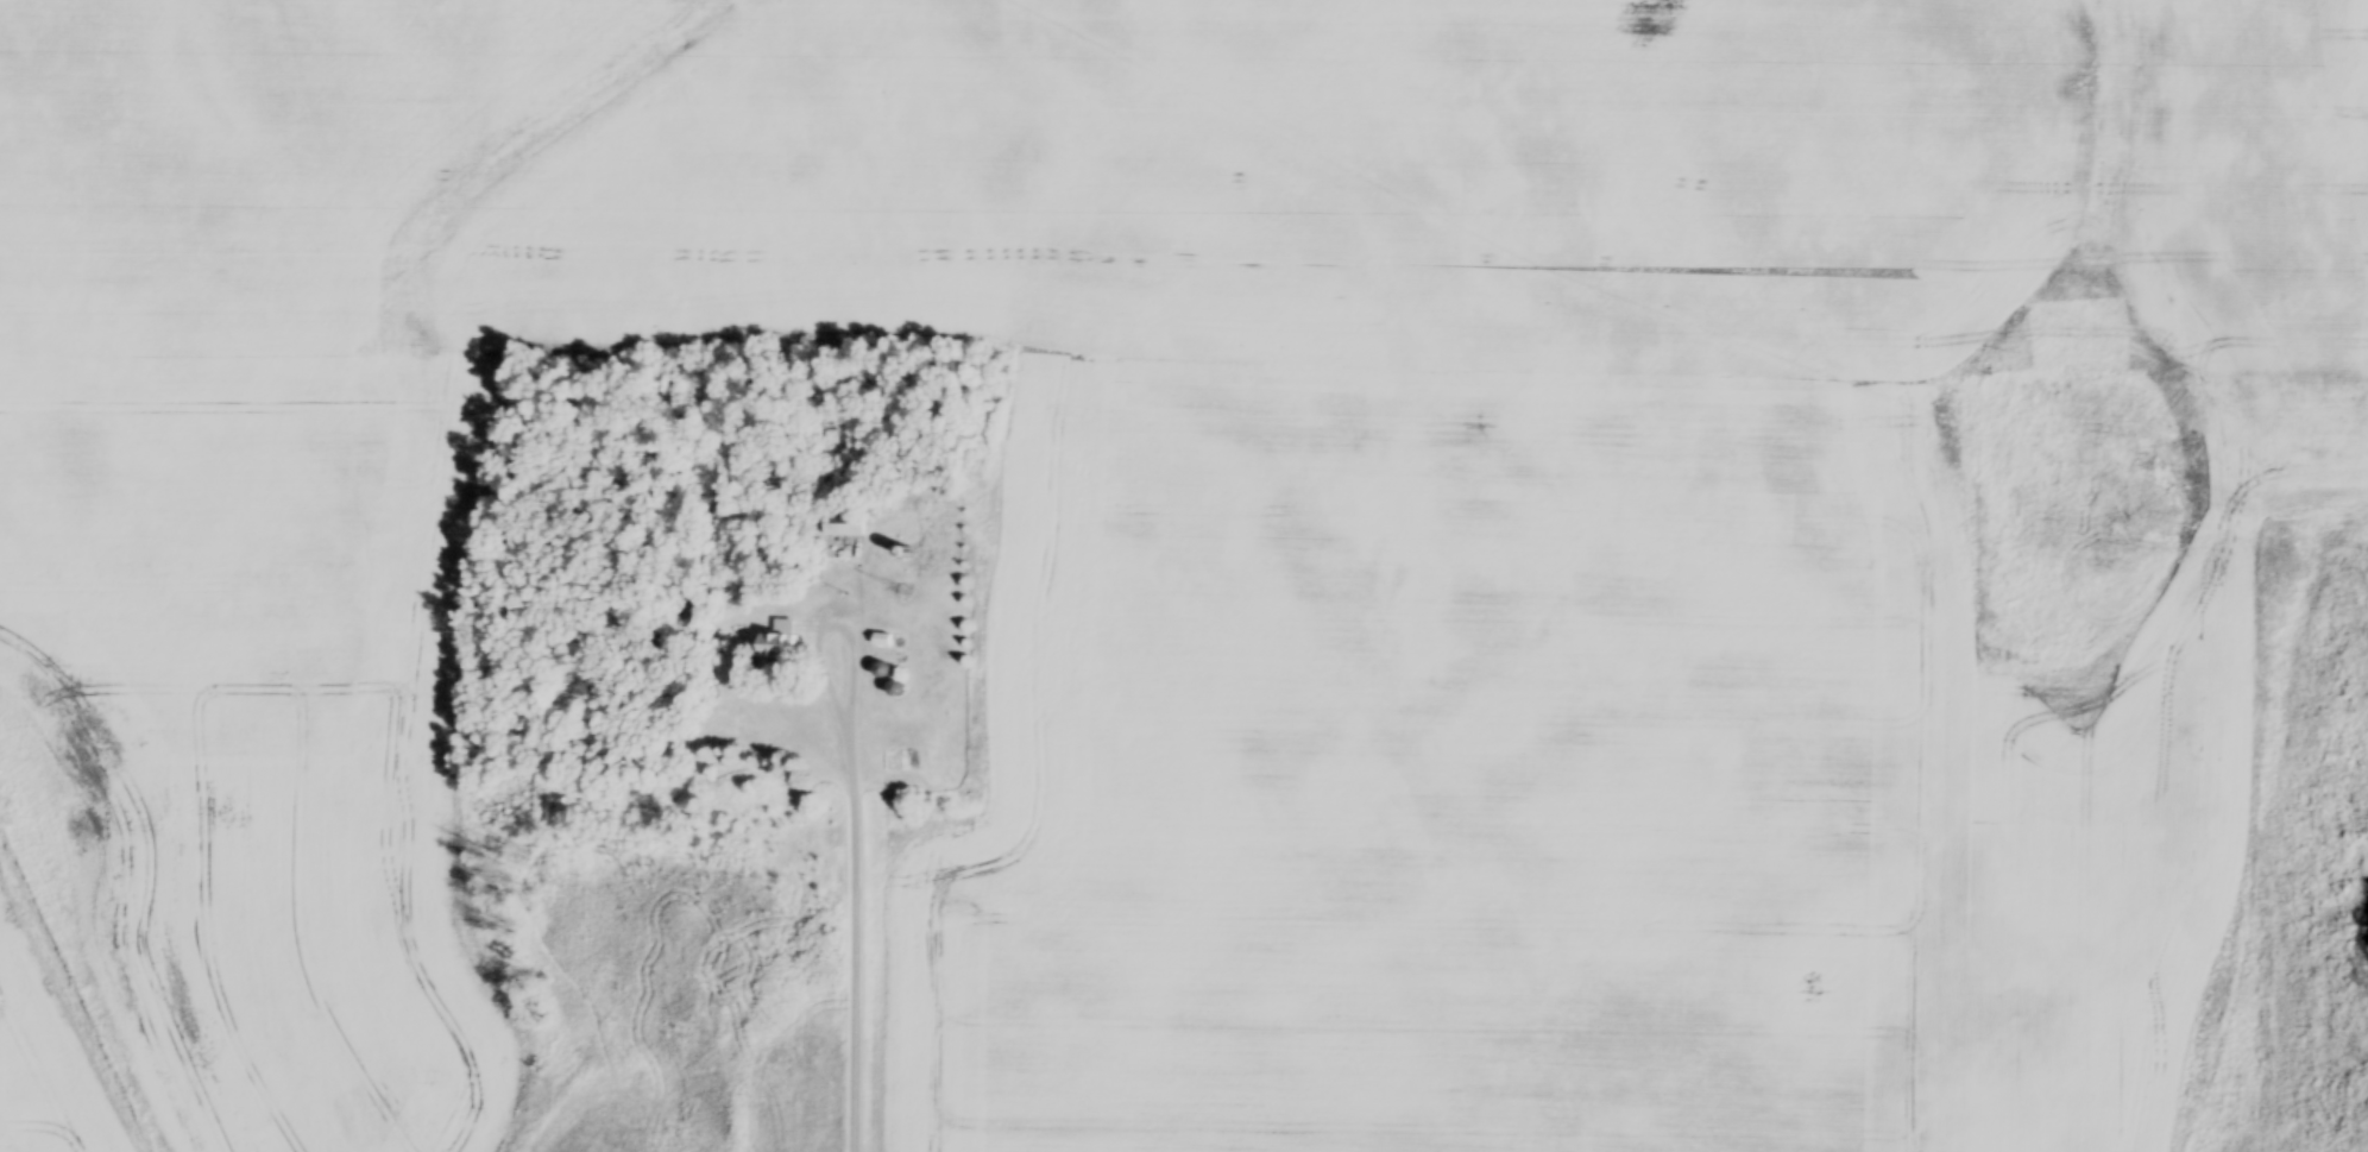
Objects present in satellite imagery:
building: (932, 547)
road: (856, 636)
building: (775, 641)
road: (859, 940)

